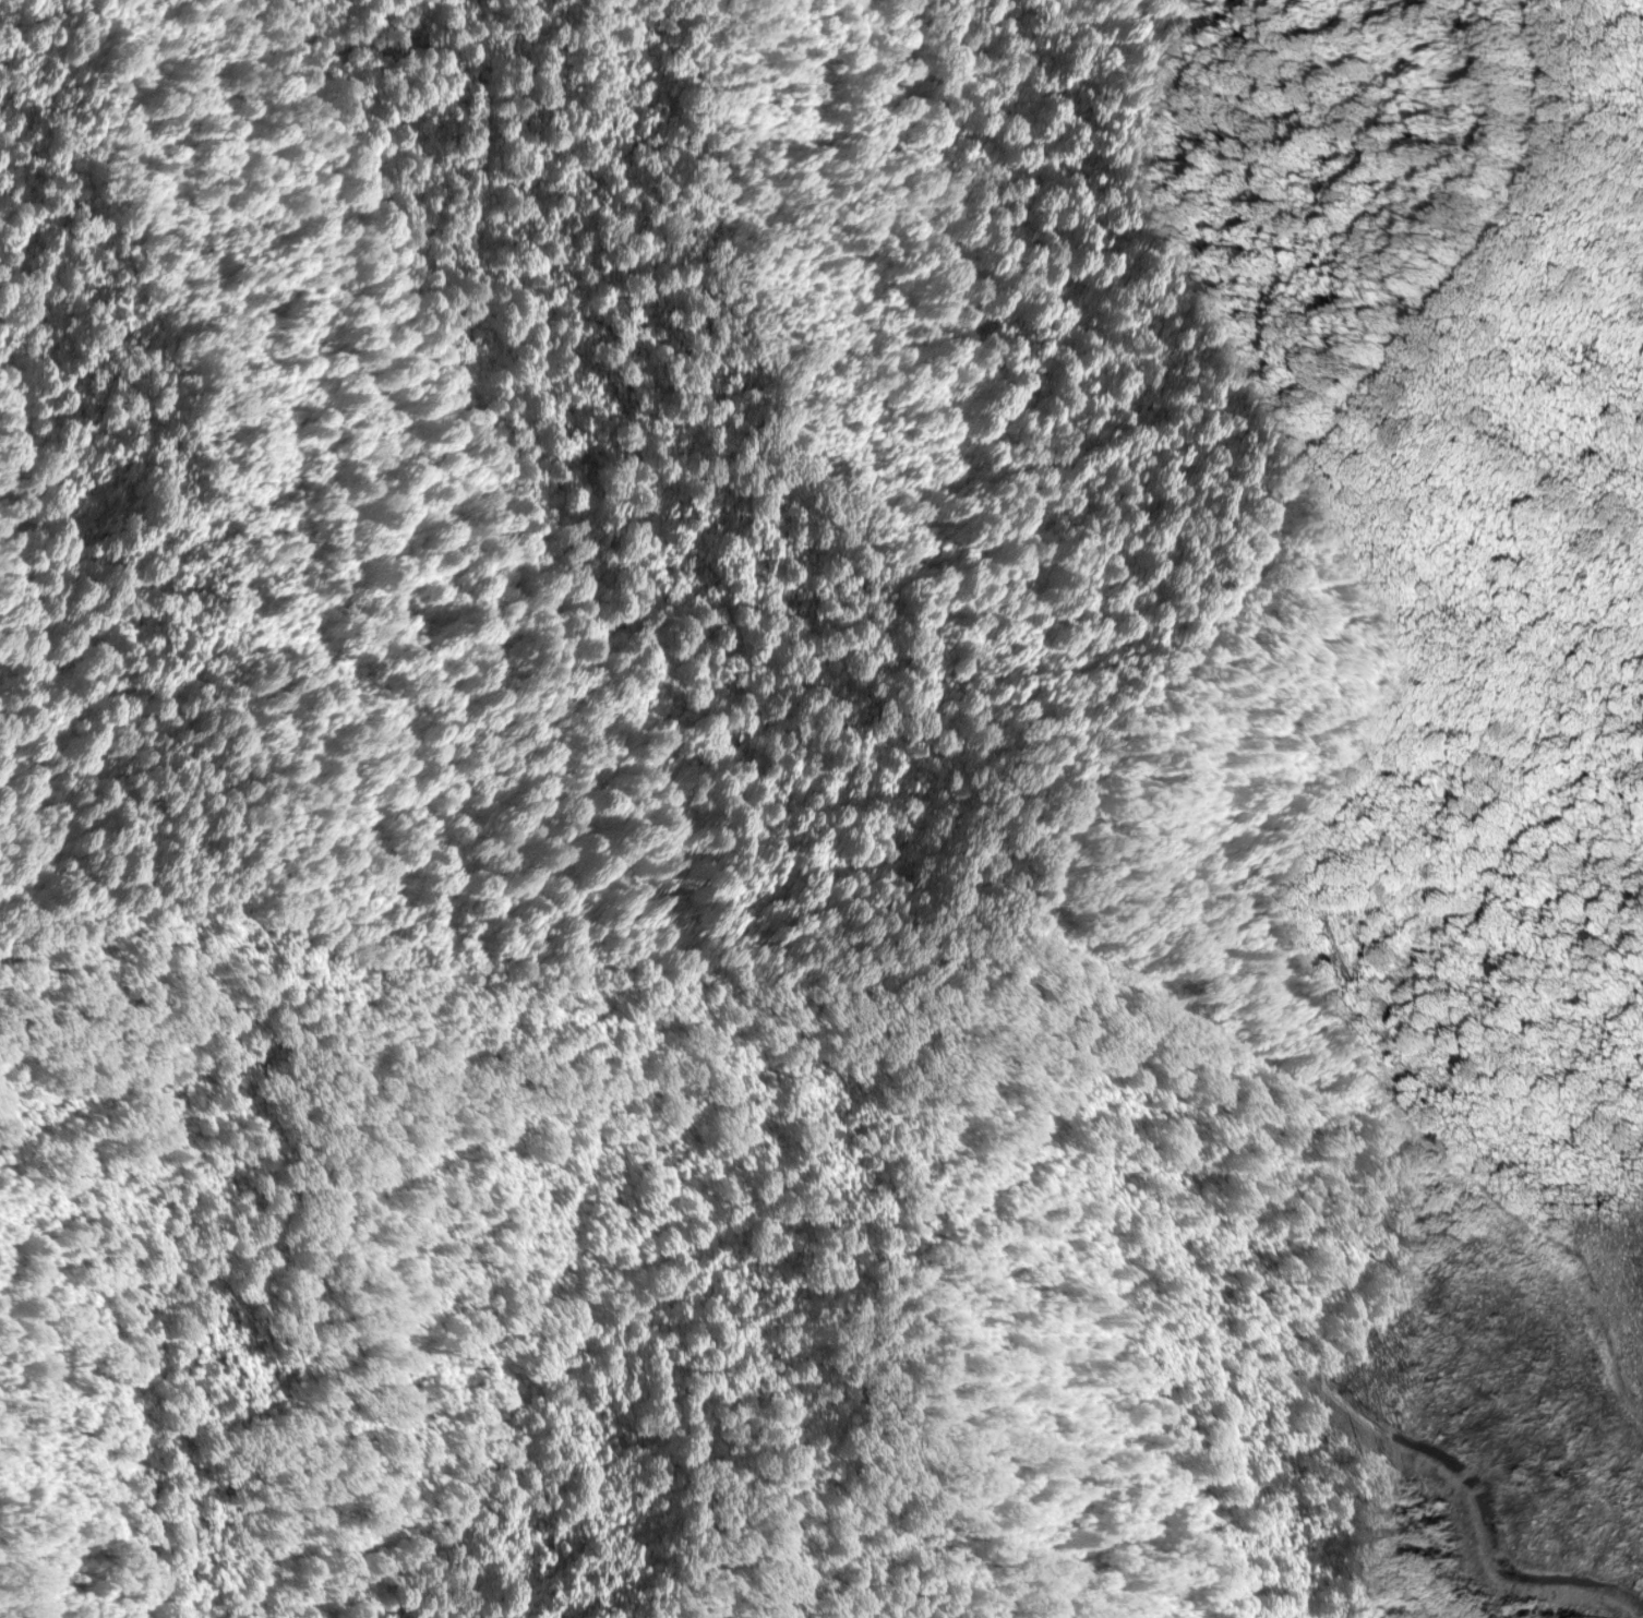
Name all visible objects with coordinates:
quarry: (1524, 1402)

